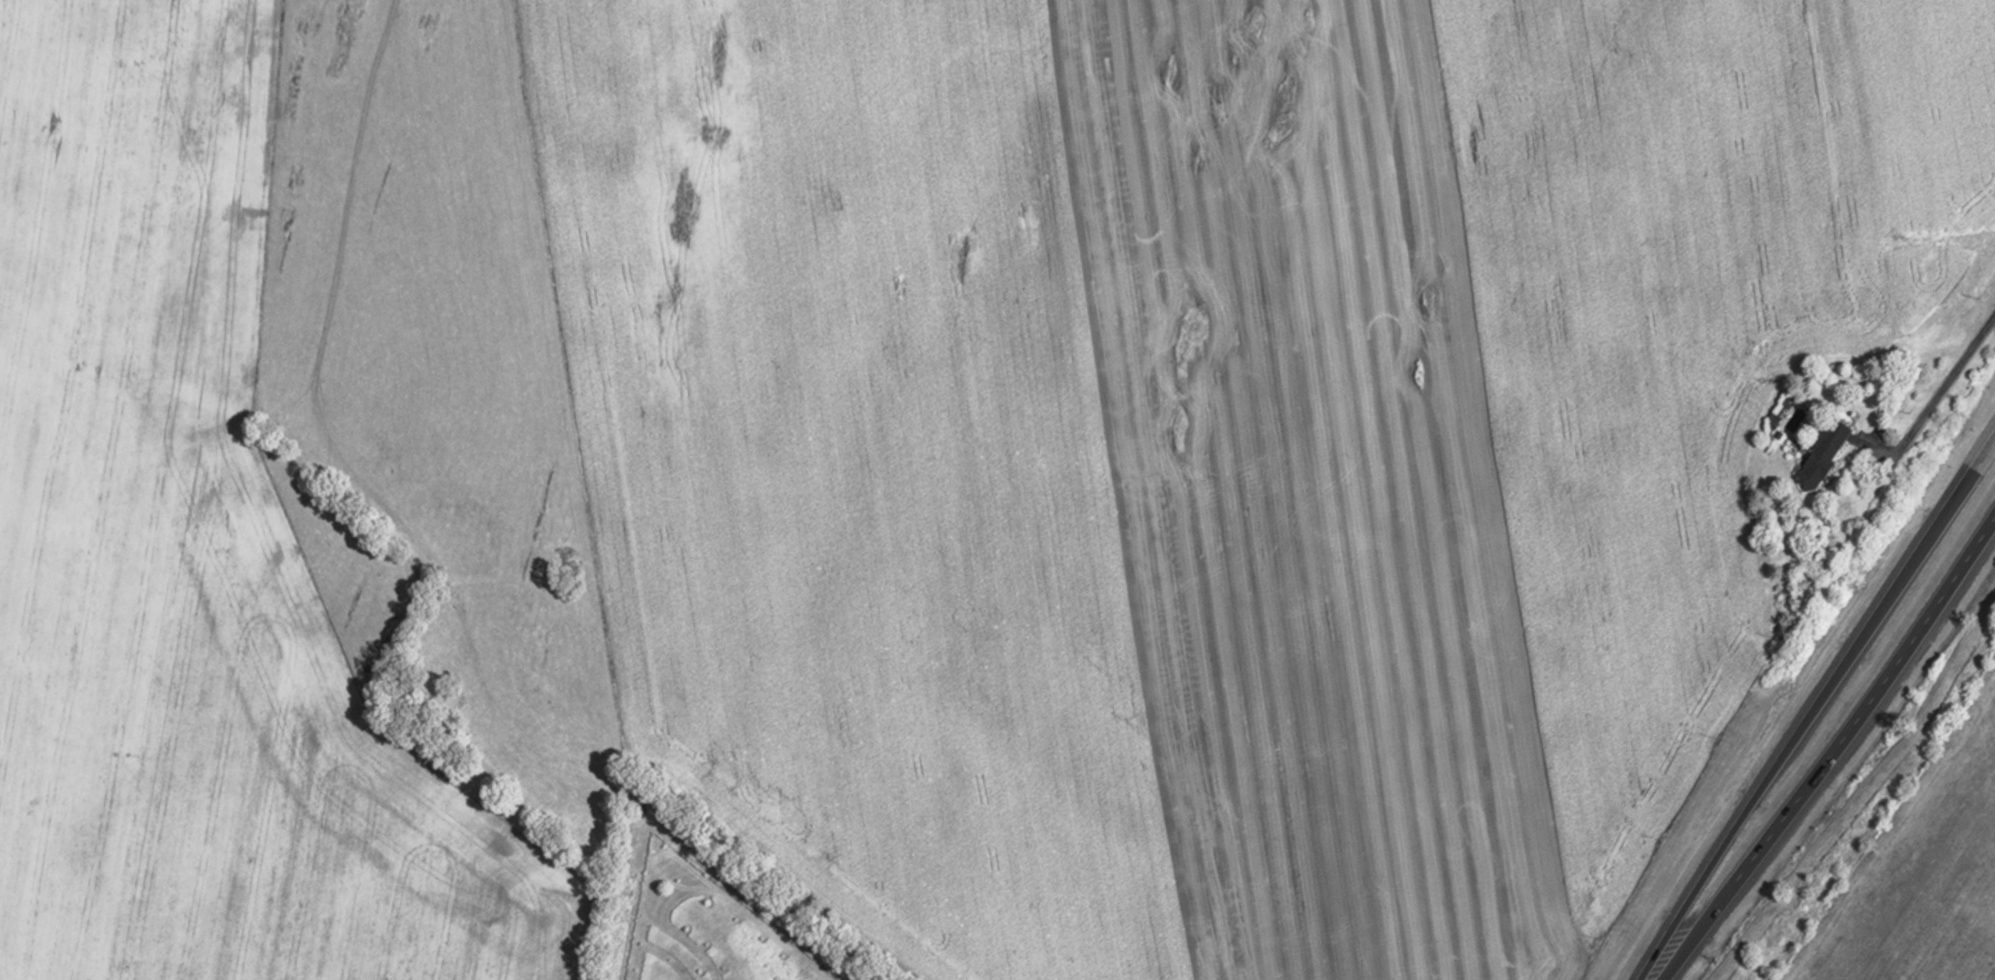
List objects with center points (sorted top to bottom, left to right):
road: (1952, 390)
building: (1834, 453)
road: (1810, 707)
road: (1869, 709)
road: (1697, 932)

